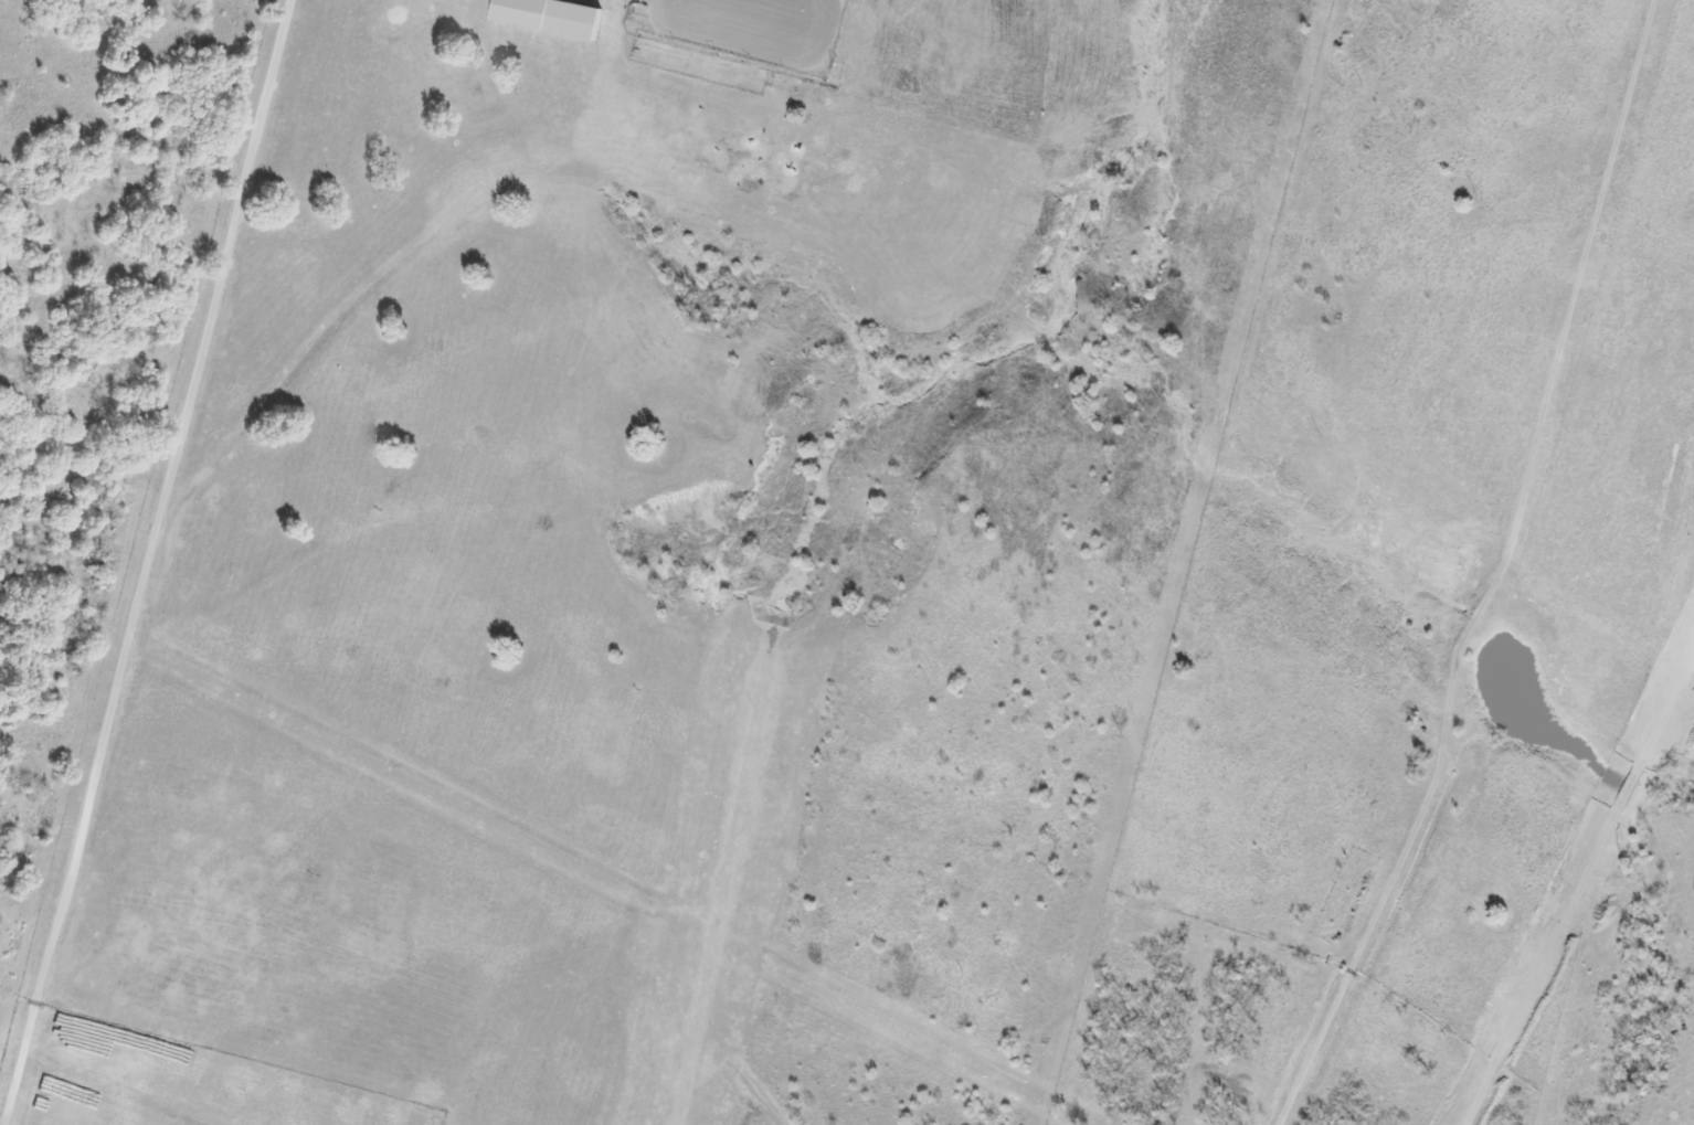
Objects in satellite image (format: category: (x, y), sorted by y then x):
building: (580, 21)

